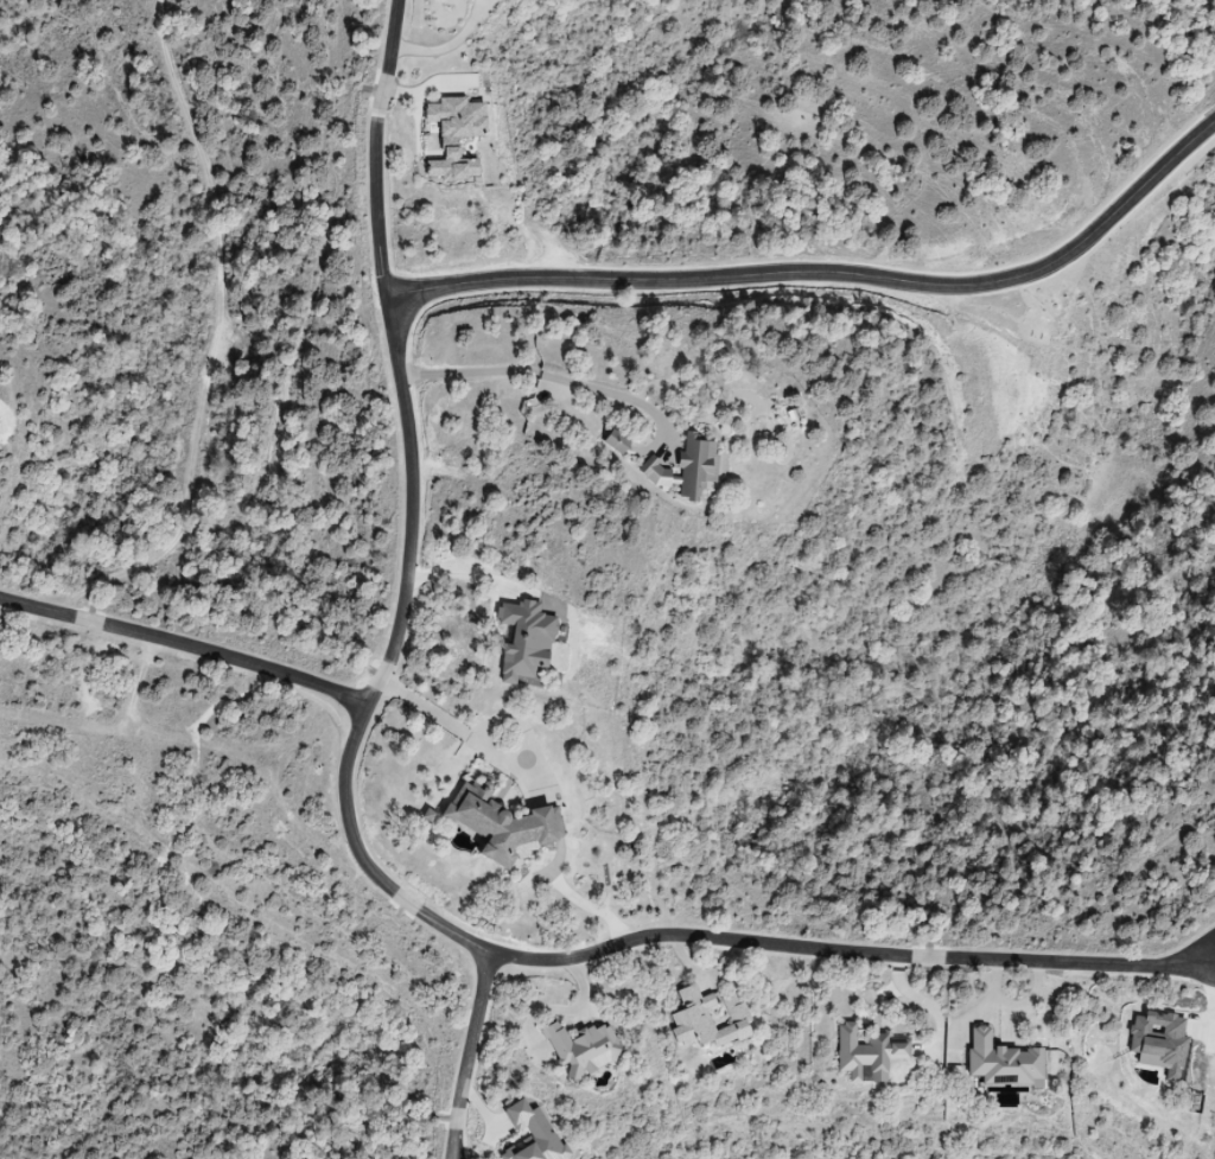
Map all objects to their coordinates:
road: (460, 46)
road: (840, 285)
road: (552, 376)
building: (621, 442)
building: (691, 469)
road: (187, 642)
road: (466, 733)
building: (504, 826)
road: (367, 862)
building: (712, 1019)
building: (586, 1049)
building: (872, 1053)
road: (485, 1058)
building: (1006, 1061)

